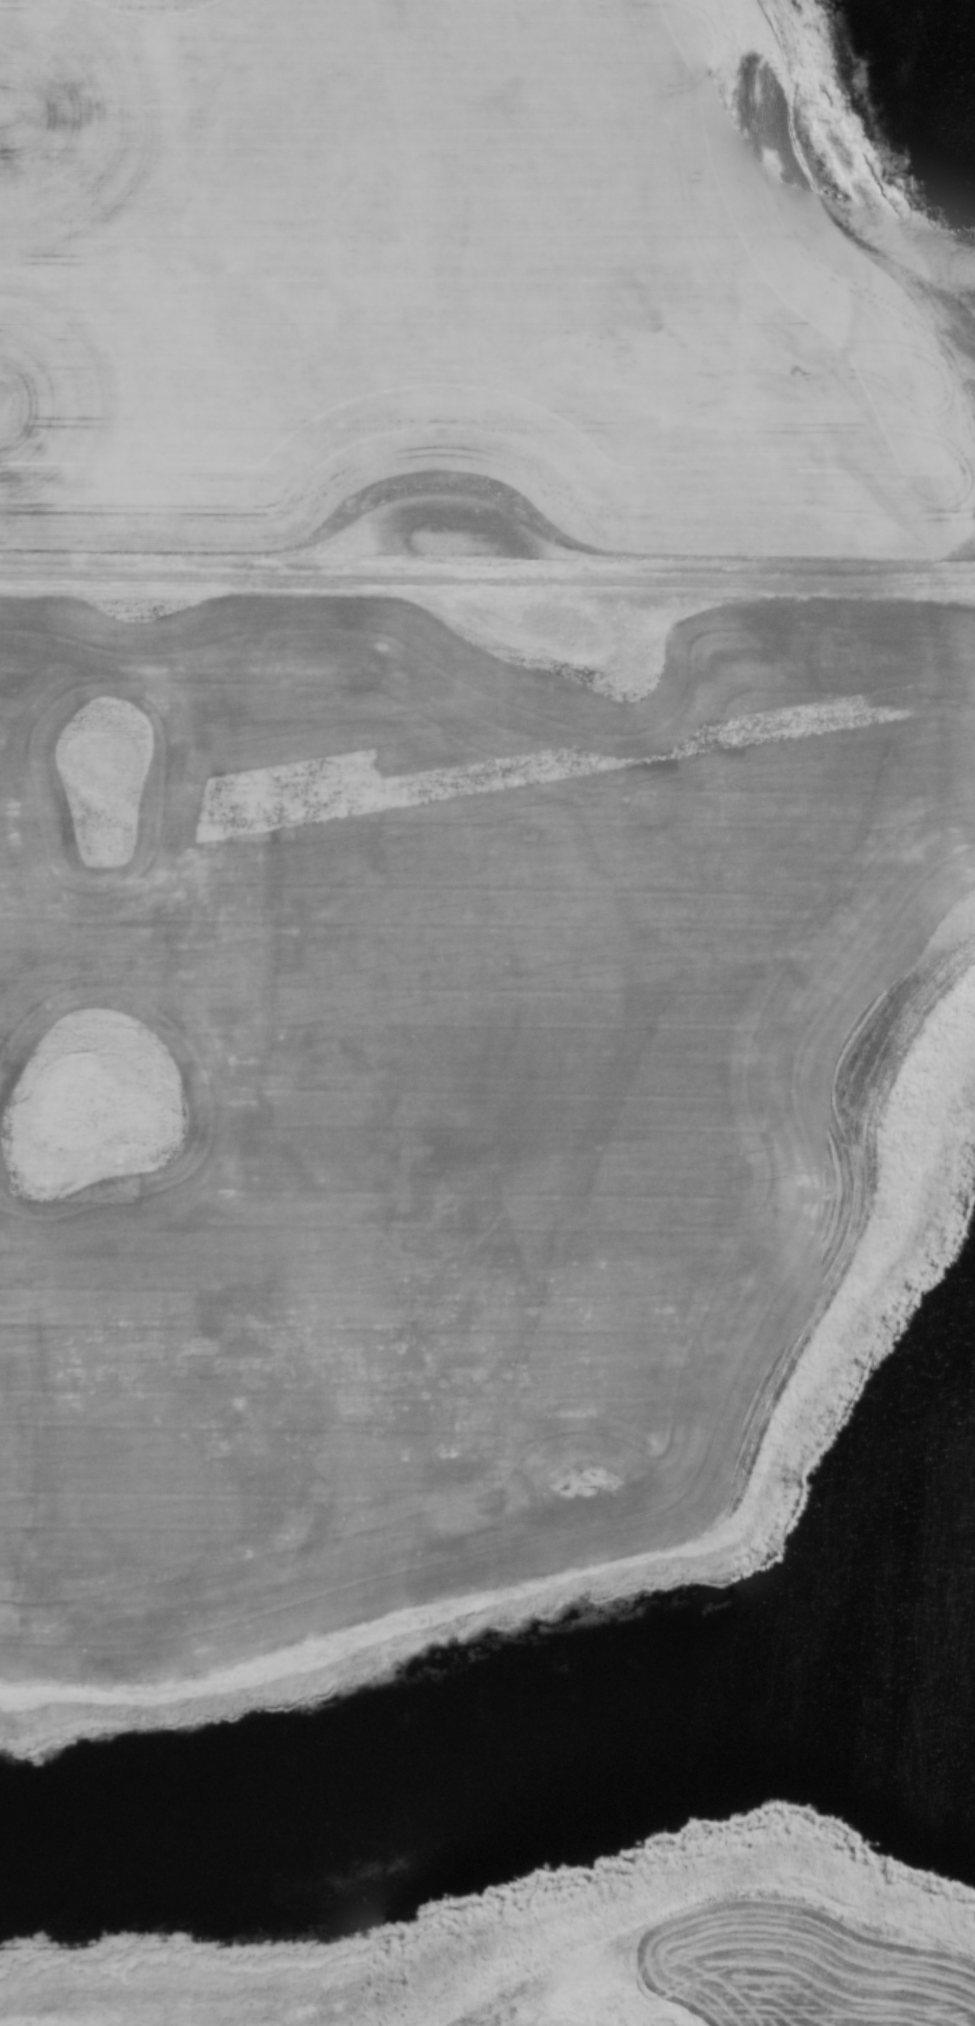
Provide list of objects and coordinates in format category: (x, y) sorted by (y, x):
road: (487, 575)

